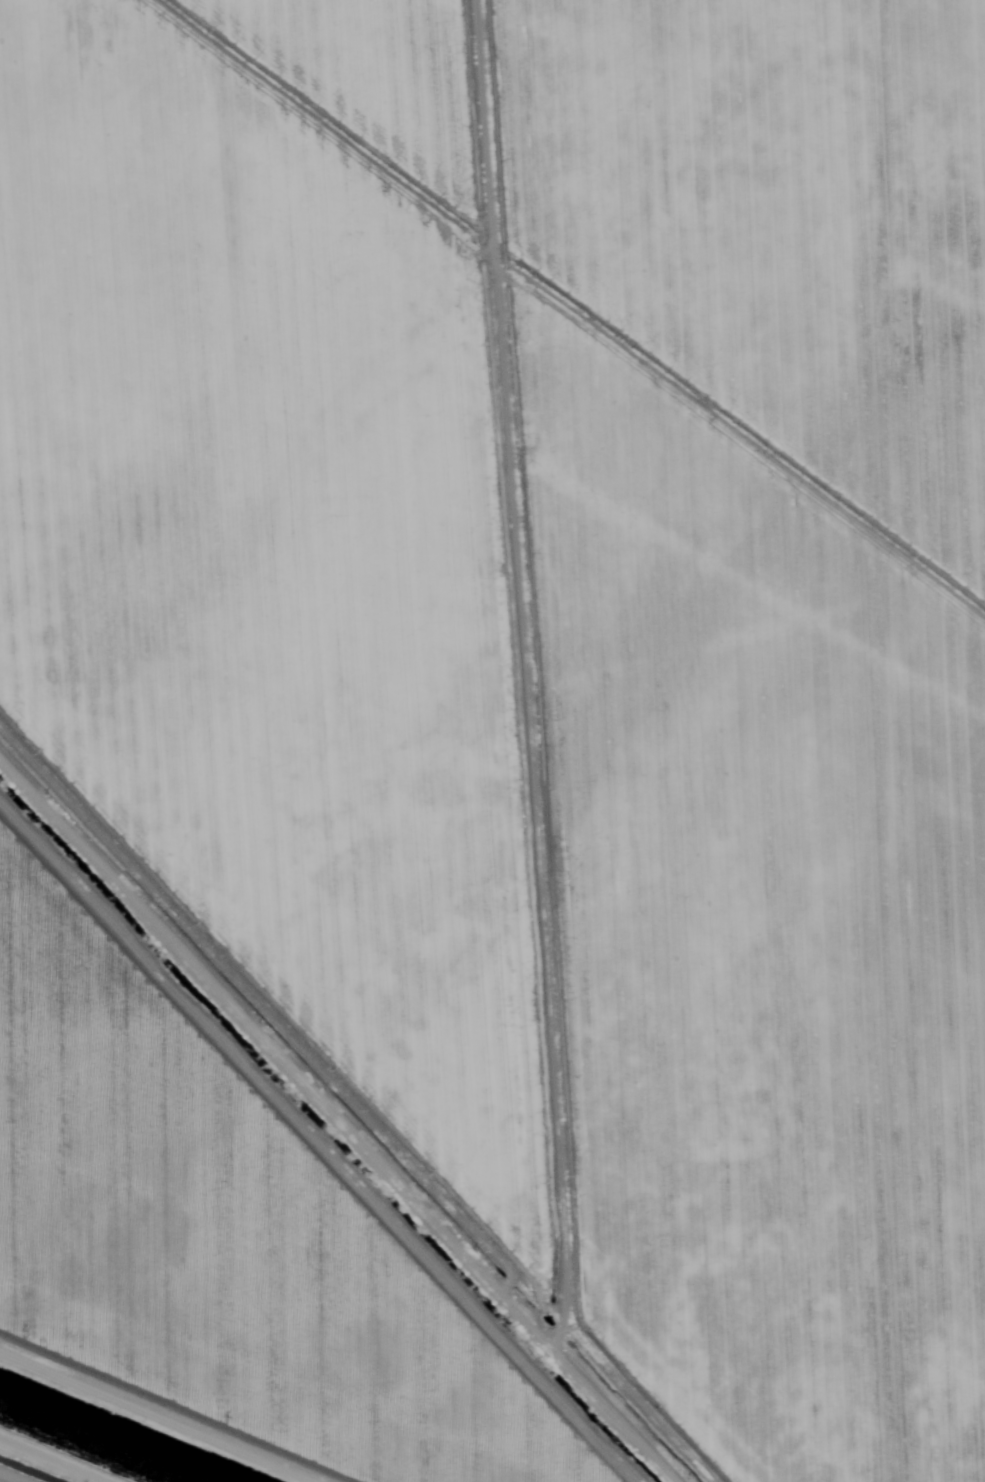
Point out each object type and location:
road: (522, 629)
crop: (499, 727)
road: (367, 1090)
road: (255, 1376)
crop: (14, 1475)

